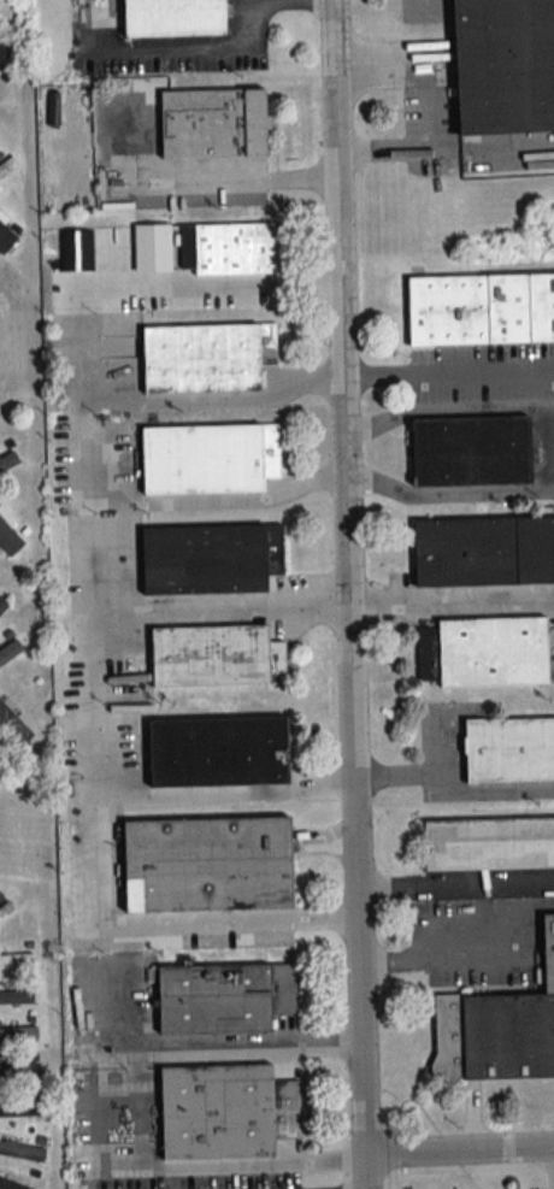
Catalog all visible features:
building: (171, 17)
road: (184, 46)
building: (507, 60)
building: (7, 65)
building: (211, 124)
road: (436, 131)
road: (385, 147)
building: (8, 165)
road: (237, 182)
building: (4, 241)
building: (202, 248)
building: (483, 308)
building: (211, 354)
road: (447, 372)
road: (212, 394)
road: (446, 407)
building: (0, 414)
building: (476, 451)
building: (211, 455)
building: (10, 460)
road: (447, 494)
road: (214, 496)
building: (10, 538)
building: (485, 551)
building: (213, 555)
road: (83, 578)
road: (348, 594)
road: (450, 594)
road: (216, 598)
building: (2, 605)
building: (488, 649)
building: (8, 652)
building: (219, 655)
building: (17, 728)
building: (512, 747)
building: (222, 749)
road: (441, 790)
road: (223, 791)
building: (490, 844)
building: (213, 864)
road: (455, 884)
road: (534, 908)
building: (6, 911)
road: (242, 919)
road: (441, 947)
building: (17, 958)
building: (17, 996)
building: (228, 996)
building: (497, 1029)
building: (18, 1034)
road: (244, 1047)
road: (140, 1055)
building: (19, 1073)
road: (141, 1097)
road: (94, 1099)
building: (22, 1109)
building: (230, 1109)
road: (472, 1118)
road: (459, 1147)
road: (143, 1149)
building: (22, 1152)
road: (214, 1160)
building: (11, 1184)

